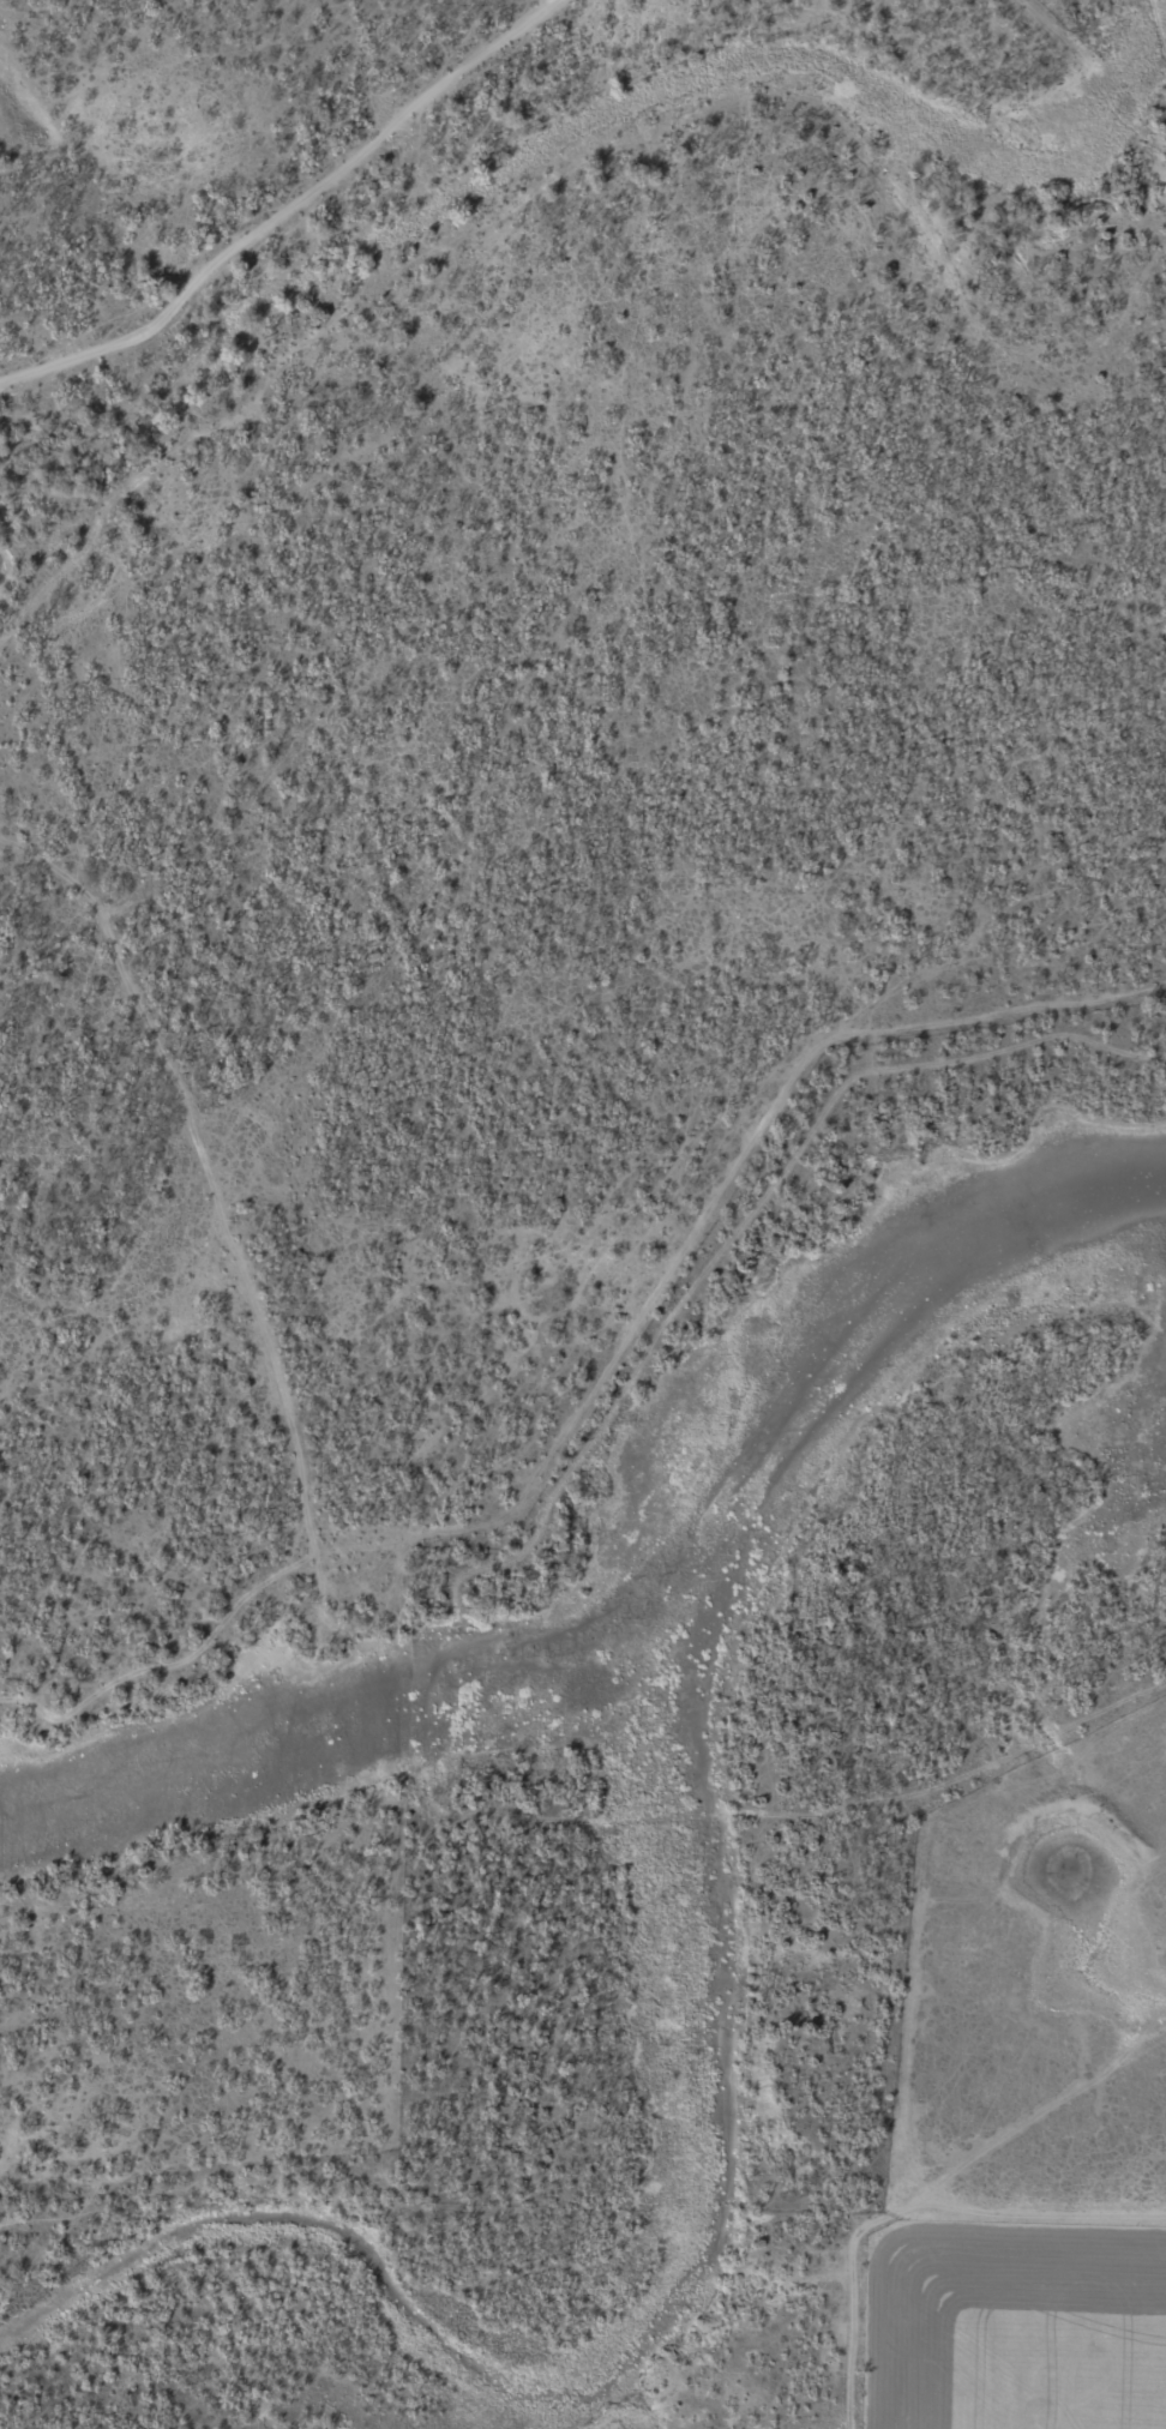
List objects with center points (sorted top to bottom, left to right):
road: (1052, 22)
road: (286, 211)
road: (120, 944)
road: (944, 2221)

